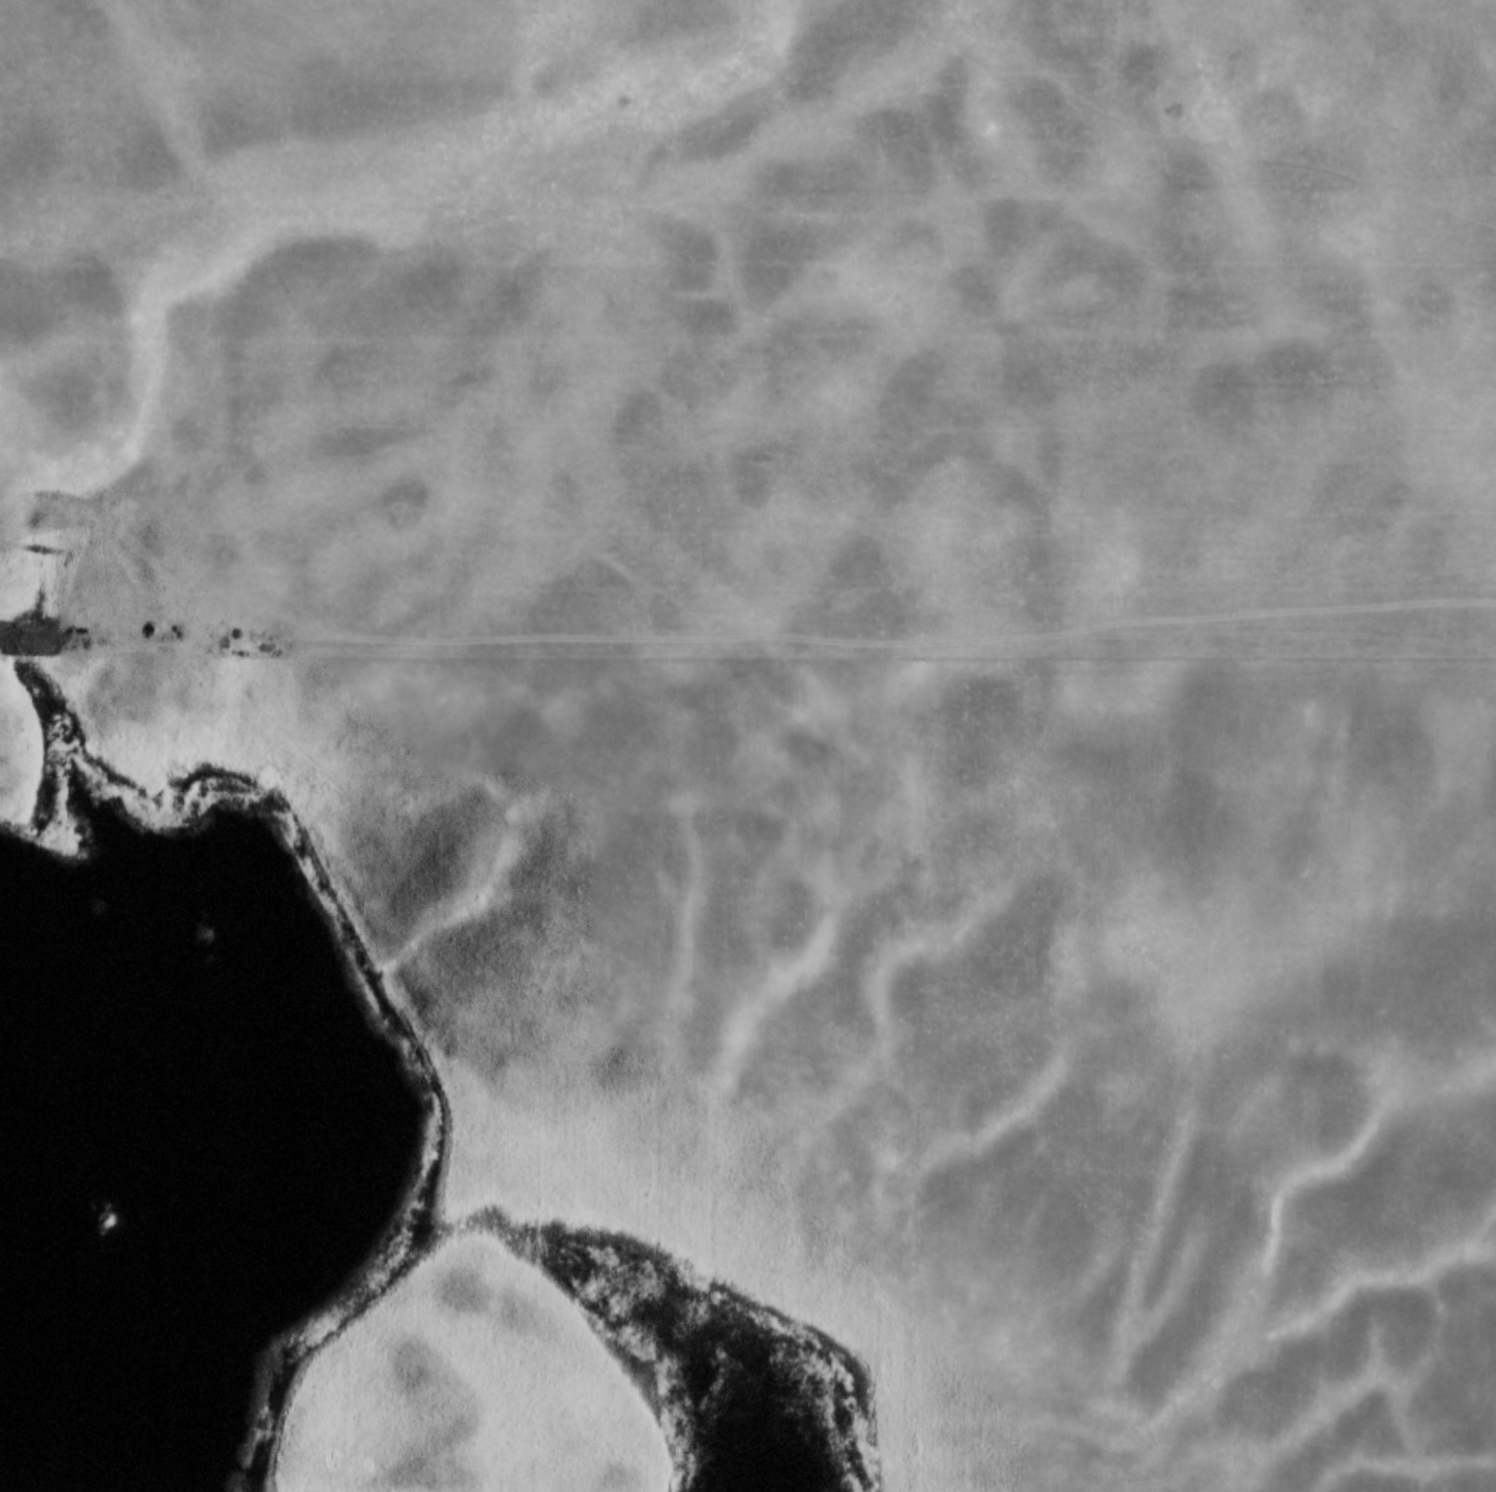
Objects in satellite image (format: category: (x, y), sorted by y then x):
road: (861, 668)

